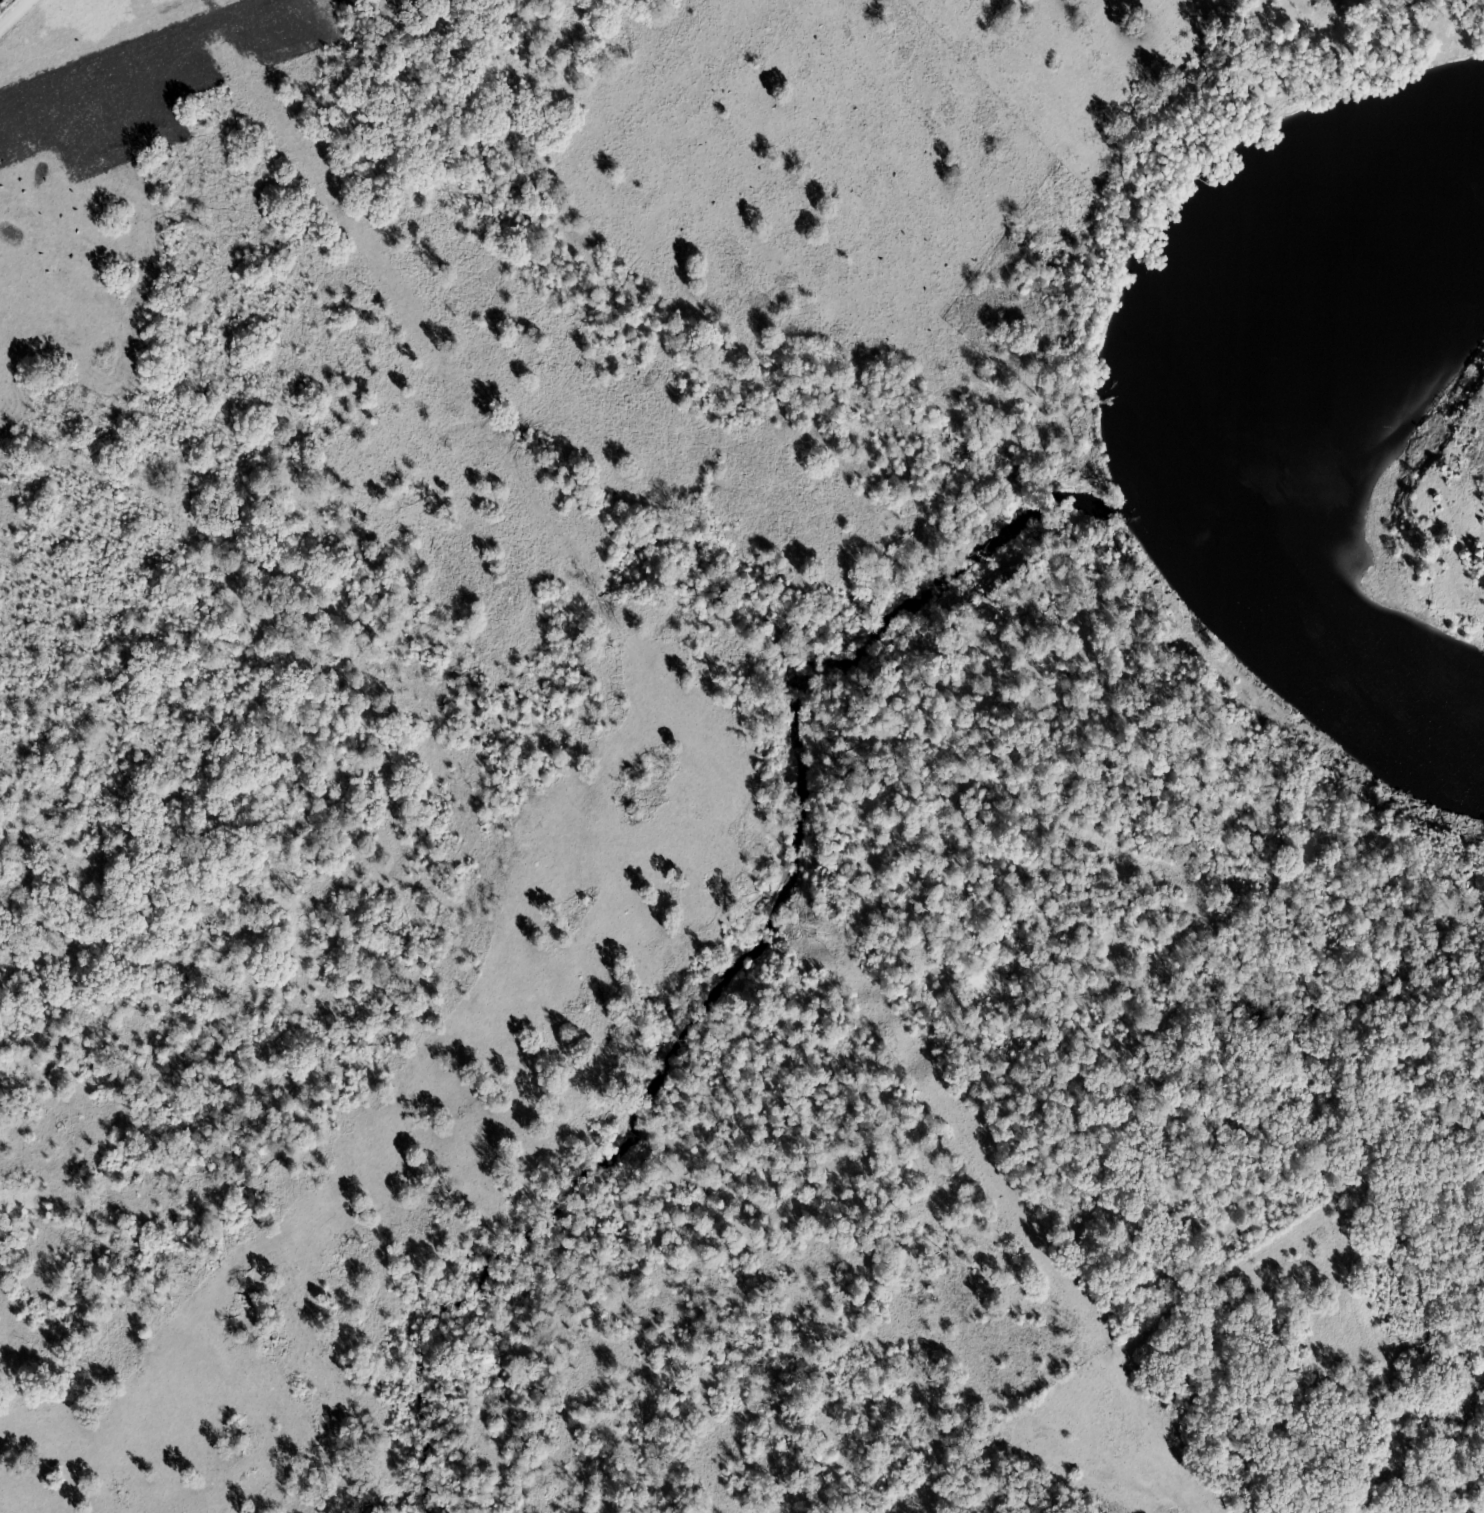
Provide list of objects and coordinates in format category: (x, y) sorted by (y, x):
road: (16, 14)
river: (1264, 453)

